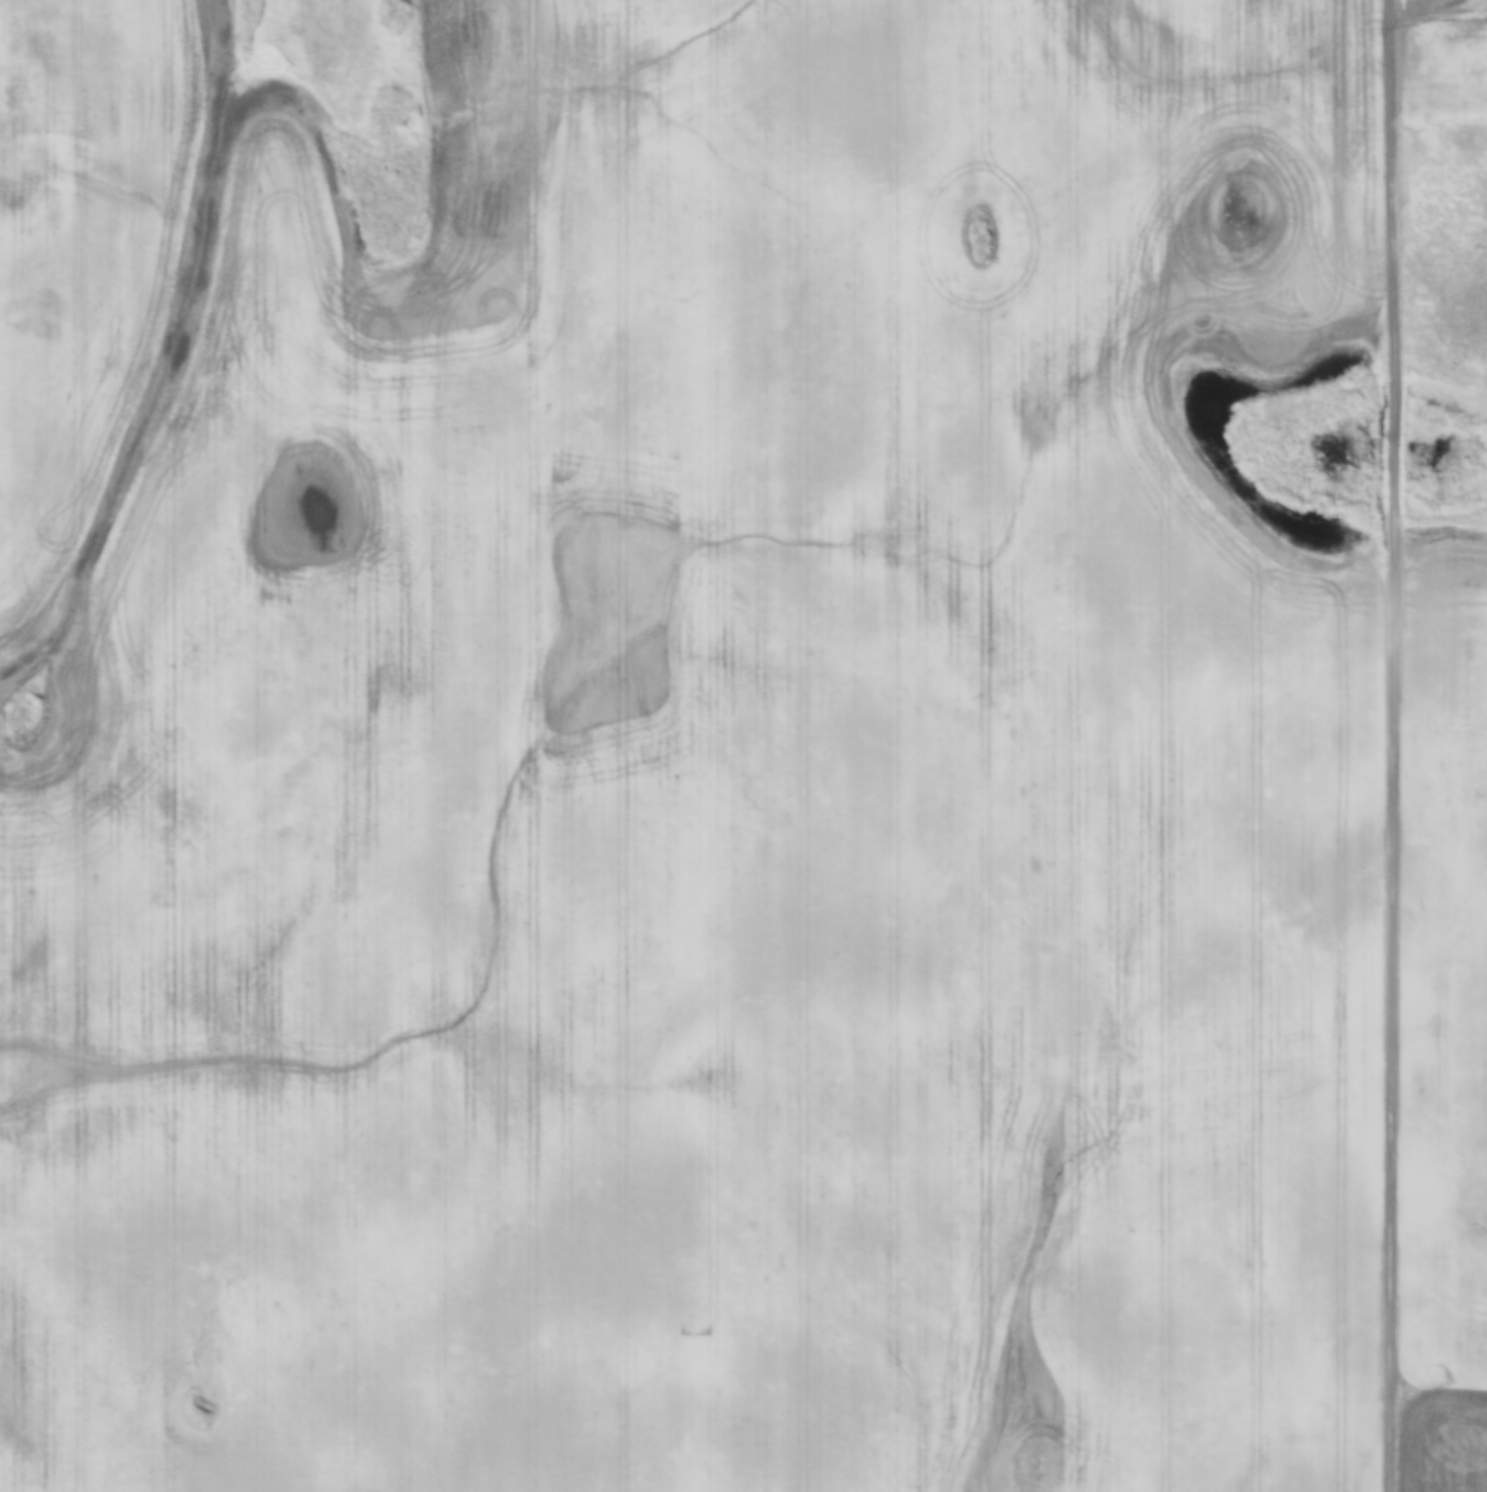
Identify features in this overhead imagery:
road: (1393, 746)
road: (1433, 1392)

